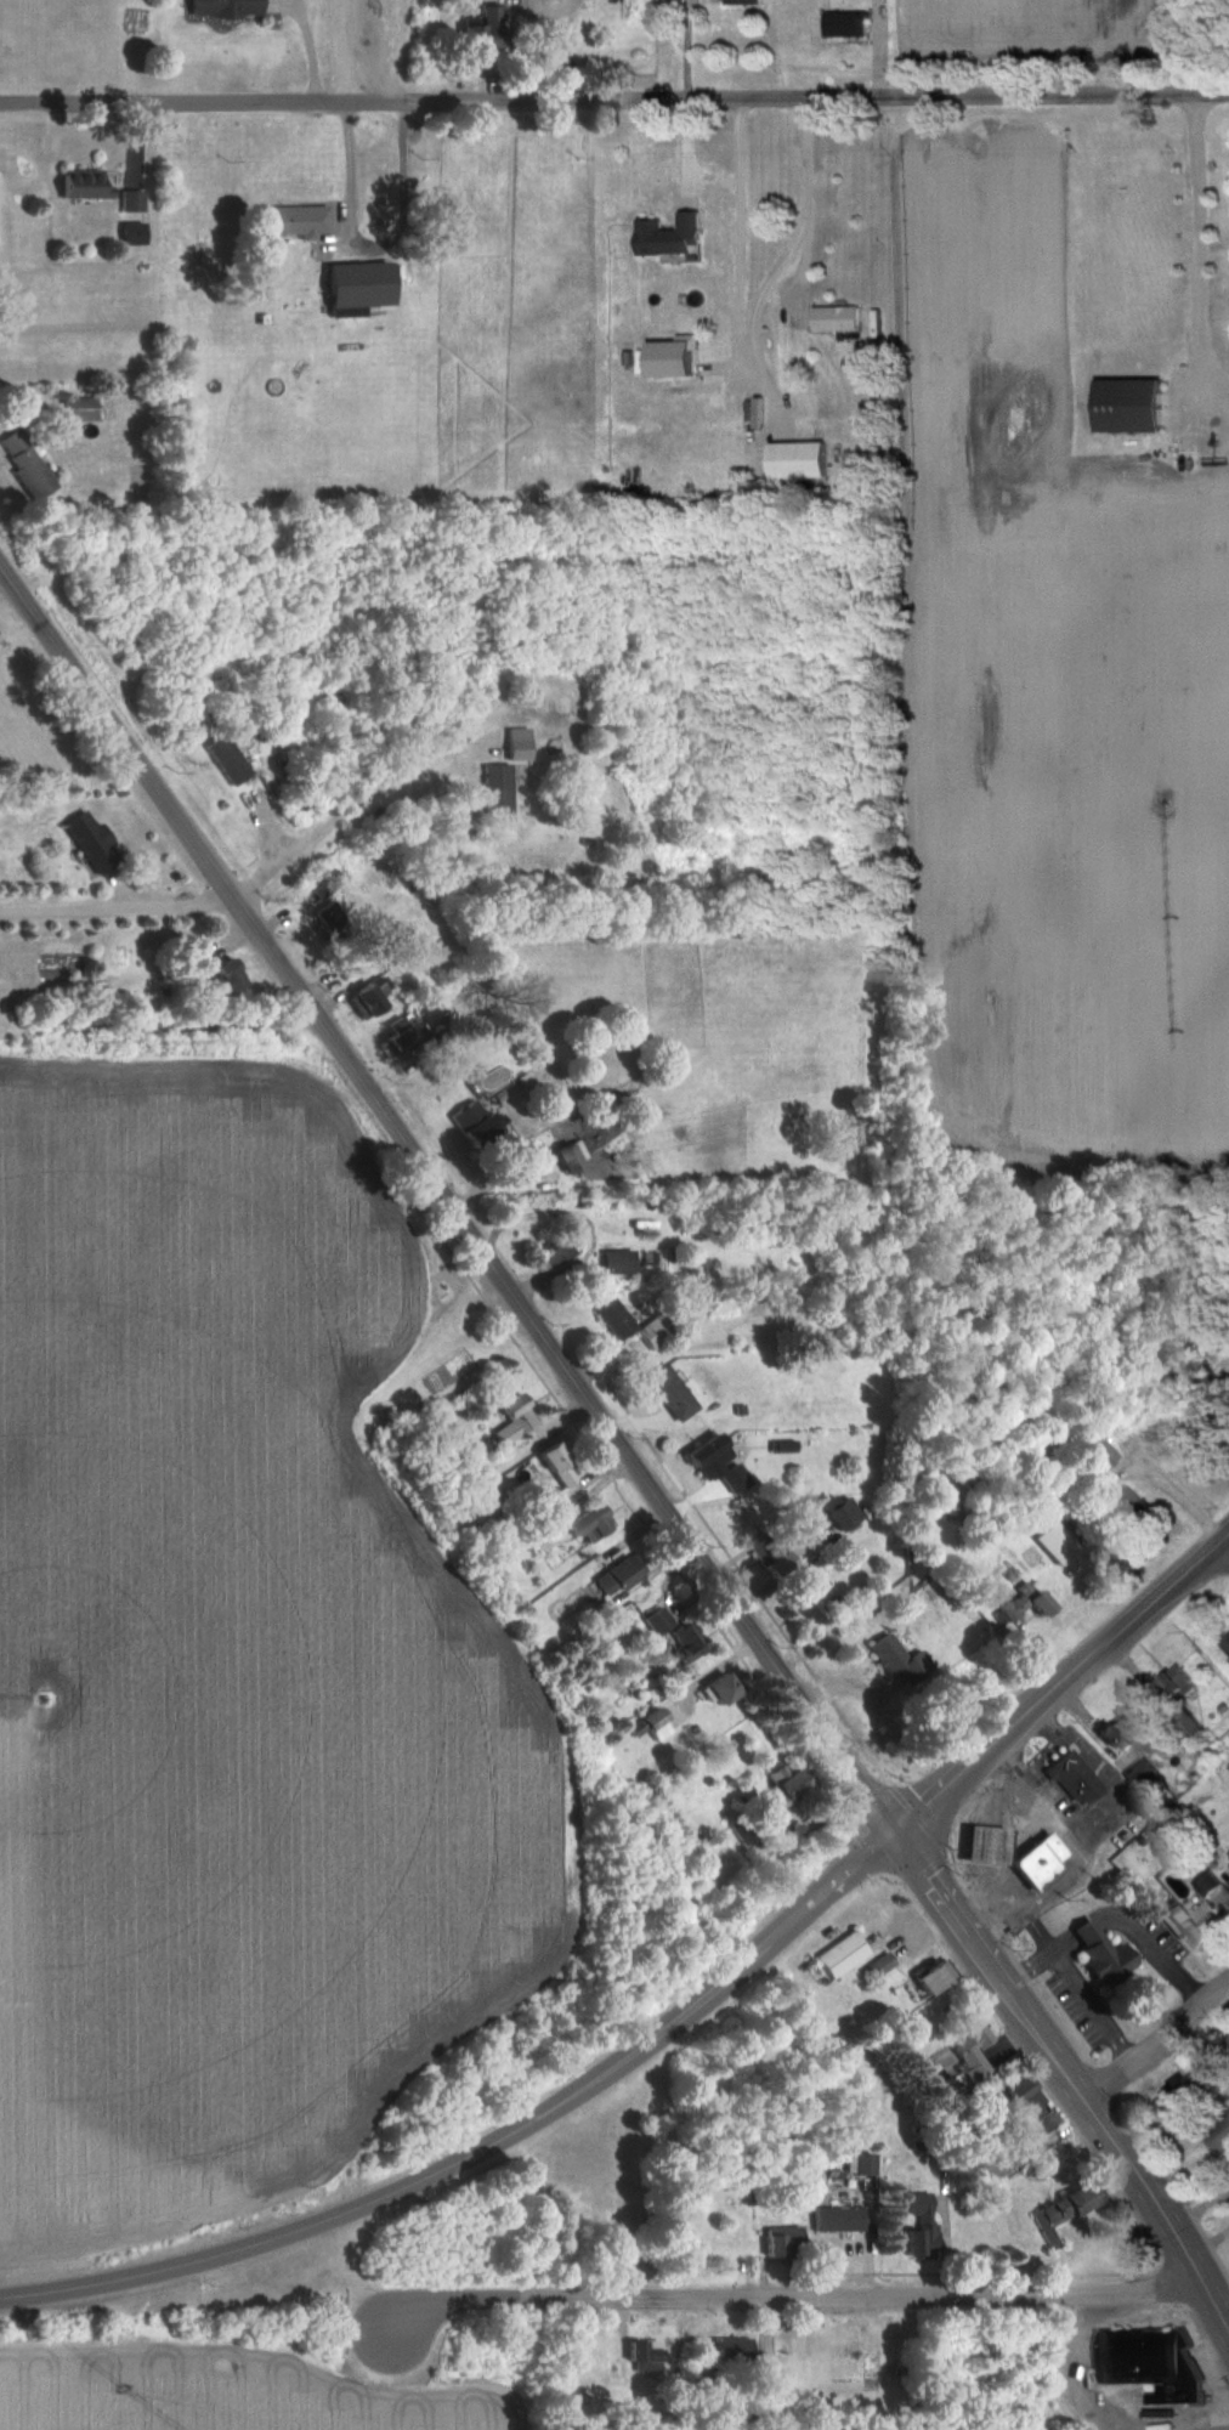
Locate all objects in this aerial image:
building: (743, 1)
building: (227, 7)
building: (645, 11)
crop: (1041, 19)
building: (845, 26)
building: (487, 28)
road: (613, 101)
building: (85, 185)
road: (802, 198)
building: (132, 202)
building: (298, 222)
building: (135, 234)
building: (668, 236)
road: (374, 243)
road: (1200, 265)
building: (362, 285)
building: (837, 319)
building: (1134, 407)
building: (80, 410)
building: (802, 460)
building: (27, 465)
building: (143, 493)
building: (228, 760)
building: (498, 794)
road: (329, 822)
building: (94, 844)
road: (198, 854)
road: (112, 904)
building: (332, 918)
building: (227, 981)
building: (368, 1003)
building: (402, 1037)
building: (476, 1127)
building: (570, 1159)
building: (556, 1252)
building: (619, 1264)
building: (616, 1322)
building: (672, 1395)
building: (1100, 1457)
building: (720, 1466)
building: (561, 1469)
road: (653, 1486)
building: (1125, 1505)
building: (845, 1518)
building: (590, 1526)
building: (1058, 1545)
building: (771, 1557)
building: (621, 1577)
building: (1024, 1605)
building: (810, 1608)
building: (658, 1624)
building: (1224, 1642)
building: (689, 1643)
building: (897, 1664)
building: (1176, 1684)
building: (724, 1692)
road: (1071, 1693)
building: (1120, 1733)
road: (1040, 1754)
building: (1076, 1780)
building: (789, 1790)
road: (1013, 1825)
building: (743, 1834)
traffic signals: (911, 1837)
building: (996, 1842)
building: (1228, 1858)
building: (1049, 1862)
road: (1009, 1901)
building: (1207, 1913)
road: (1129, 1928)
building: (844, 1954)
building: (1104, 1954)
building: (883, 1962)
road: (1024, 1962)
building: (936, 1977)
road: (1087, 2004)
road: (1155, 2037)
building: (974, 2046)
road: (1072, 2084)
building: (1197, 2095)
building: (1030, 2109)
building: (1216, 2136)
road: (497, 2153)
building: (1065, 2213)
building: (839, 2220)
building: (921, 2226)
building: (785, 2243)
road: (805, 2298)
building: (735, 2355)
building: (646, 2356)
building: (1151, 2364)
road: (1075, 2370)
crop: (219, 2391)
road: (1216, 2418)
road: (1190, 2420)

